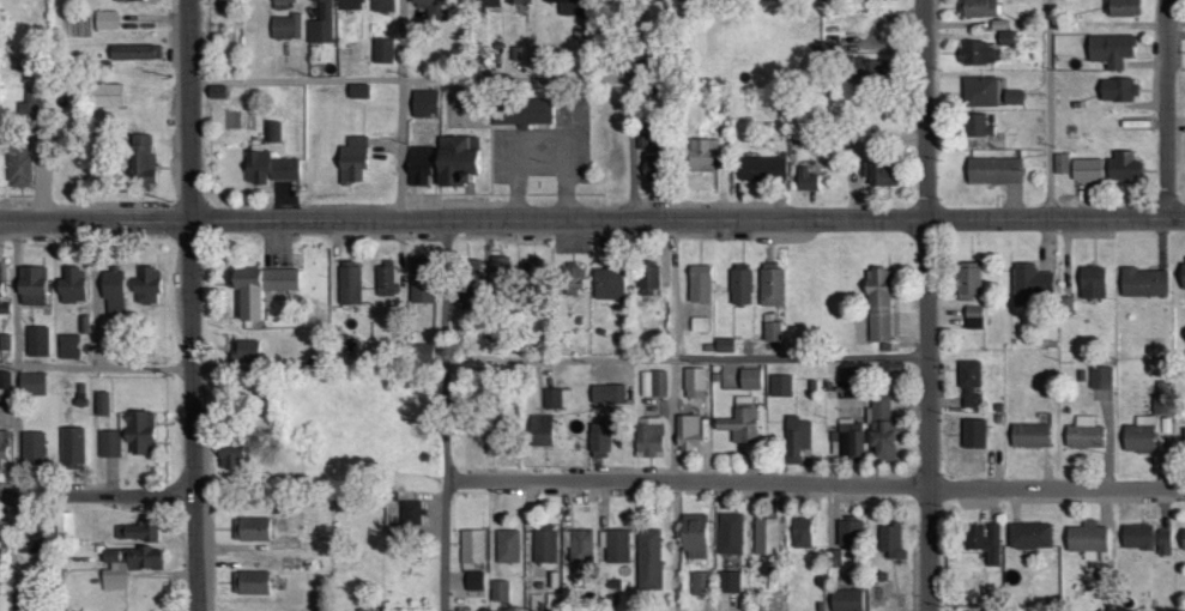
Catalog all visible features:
building: (127, 0)
building: (282, 1)
building: (516, 1)
building: (485, 2)
building: (349, 4)
building: (223, 5)
building: (381, 5)
building: (567, 6)
building: (978, 7)
building: (1123, 7)
building: (433, 8)
building: (105, 19)
building: (320, 20)
building: (286, 25)
building: (872, 30)
building: (1005, 37)
building: (830, 47)
building: (1111, 49)
building: (382, 50)
building: (134, 52)
building: (978, 53)
building: (869, 73)
road: (411, 79)
building: (1117, 89)
building: (358, 91)
building: (979, 91)
building: (104, 95)
building: (1014, 97)
building: (422, 102)
road: (403, 109)
road: (1048, 109)
road: (1168, 109)
road: (633, 110)
building: (522, 111)
building: (29, 114)
building: (979, 123)
building: (272, 131)
building: (701, 153)
building: (143, 158)
building: (454, 158)
building: (645, 158)
building: (351, 159)
building: (18, 163)
building: (1060, 163)
building: (416, 165)
building: (1123, 165)
building: (270, 167)
building: (761, 168)
building: (992, 169)
building: (1086, 169)
building: (873, 171)
building: (805, 179)
road: (592, 220)
building: (497, 267)
building: (1183, 272)
building: (646, 277)
building: (385, 279)
building: (467, 279)
building: (570, 280)
building: (967, 280)
building: (421, 282)
building: (1092, 282)
building: (1143, 282)
building: (607, 283)
building: (699, 283)
building: (1028, 283)
building: (349, 284)
building: (30, 285)
building: (71, 285)
building: (146, 285)
building: (256, 285)
building: (740, 285)
building: (772, 286)
building: (113, 290)
road: (95, 294)
building: (4, 303)
building: (877, 304)
road: (927, 304)
building: (1066, 304)
road: (192, 305)
building: (973, 316)
building: (697, 323)
building: (772, 331)
building: (37, 341)
building: (68, 345)
building: (725, 345)
building: (244, 350)
building: (422, 352)
road: (685, 356)
road: (97, 365)
building: (850, 373)
building: (1101, 377)
building: (749, 379)
building: (5, 380)
building: (31, 382)
building: (694, 382)
building: (653, 383)
building: (969, 383)
building: (781, 385)
building: (607, 393)
building: (557, 398)
building: (102, 403)
road: (445, 415)
road: (673, 416)
road: (17, 418)
building: (740, 422)
building: (881, 427)
building: (539, 429)
building: (137, 430)
building: (688, 431)
building: (972, 432)
building: (1083, 432)
building: (1029, 434)
building: (1138, 434)
building: (598, 436)
building: (648, 436)
building: (796, 438)
building: (851, 438)
building: (109, 443)
building: (2, 444)
building: (1184, 446)
building: (72, 447)
building: (32, 449)
building: (228, 460)
road: (816, 483)
road: (97, 497)
building: (410, 512)
building: (62, 524)
building: (250, 528)
building: (135, 531)
building: (802, 532)
building: (848, 532)
building: (731, 533)
building: (694, 536)
building: (767, 536)
building: (1029, 536)
building: (1136, 537)
building: (1181, 538)
building: (1087, 539)
building: (31, 540)
building: (890, 540)
building: (983, 540)
building: (1163, 542)
building: (544, 543)
building: (507, 545)
building: (578, 545)
building: (616, 546)
building: (470, 548)
building: (834, 557)
building: (648, 559)
building: (127, 564)
building: (473, 581)
building: (730, 581)
building: (249, 582)
building: (700, 588)
building: (500, 591)
building: (845, 599)
building: (552, 601)
building: (534, 603)
building: (367, 610)

